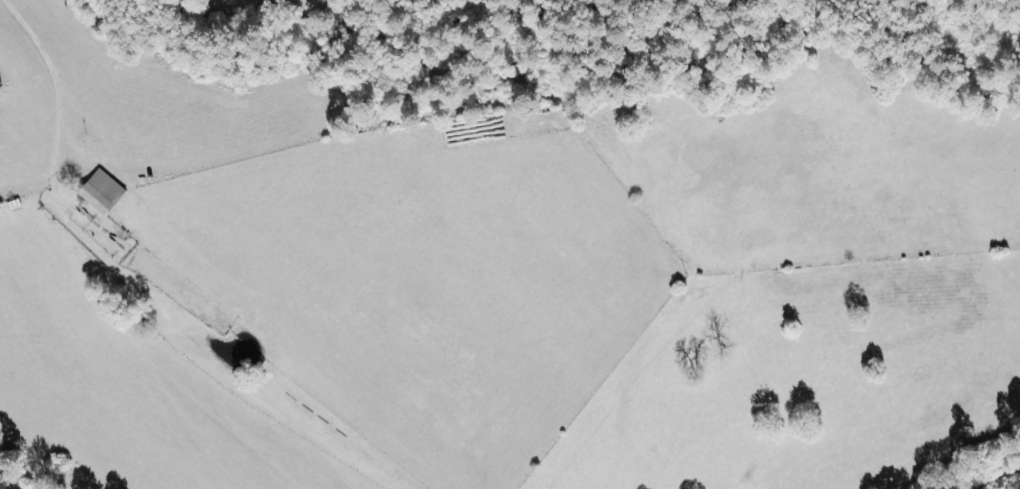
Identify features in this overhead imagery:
building: (104, 191)

